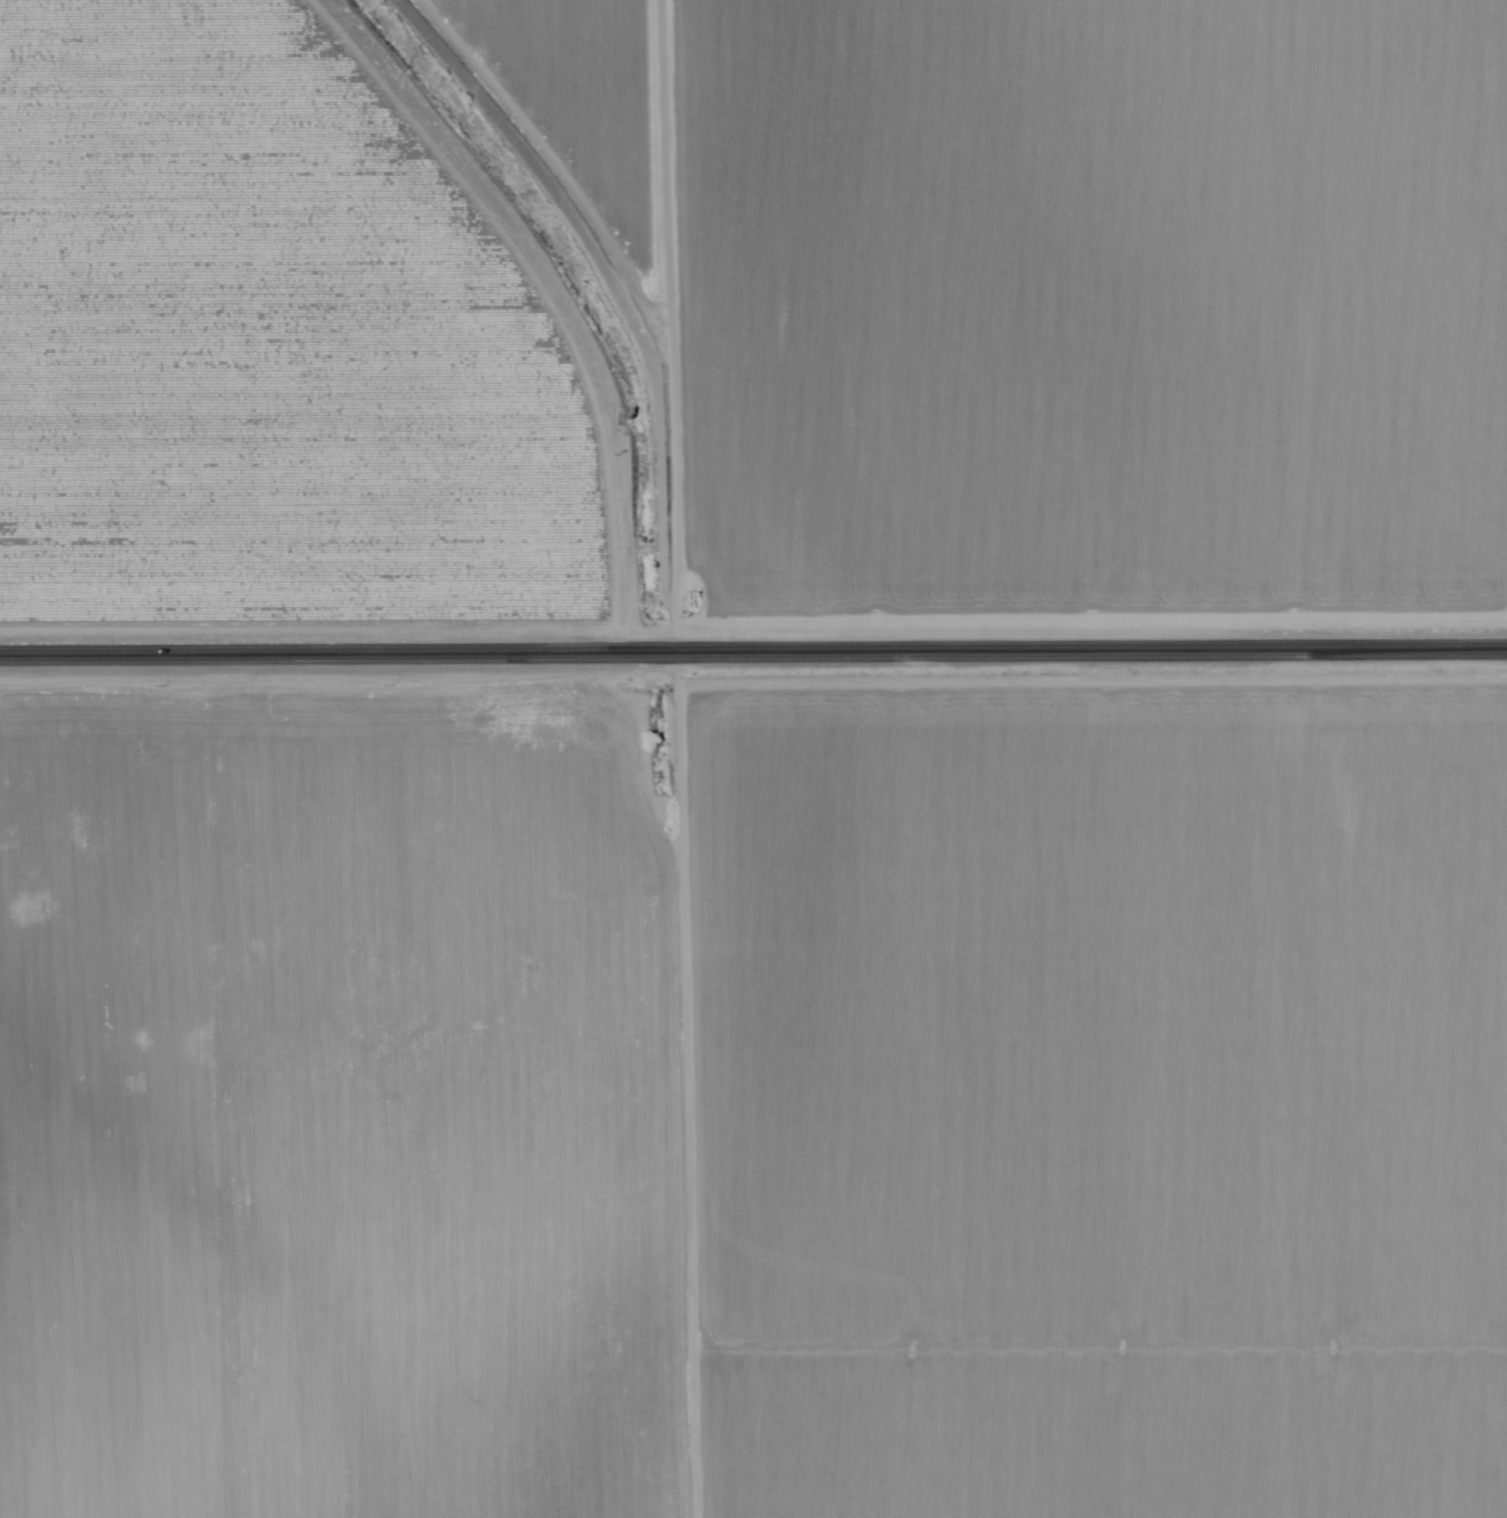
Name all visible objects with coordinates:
crop: (577, 97)
crop: (1103, 314)
crop: (318, 340)
road: (753, 652)
road: (675, 759)
crop: (1050, 1111)
crop: (297, 1113)

